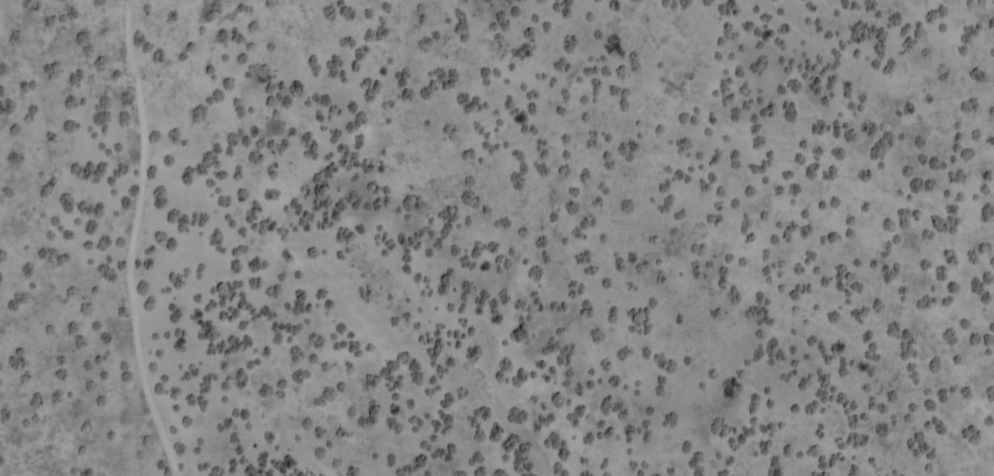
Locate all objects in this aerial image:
road: (175, 237)

